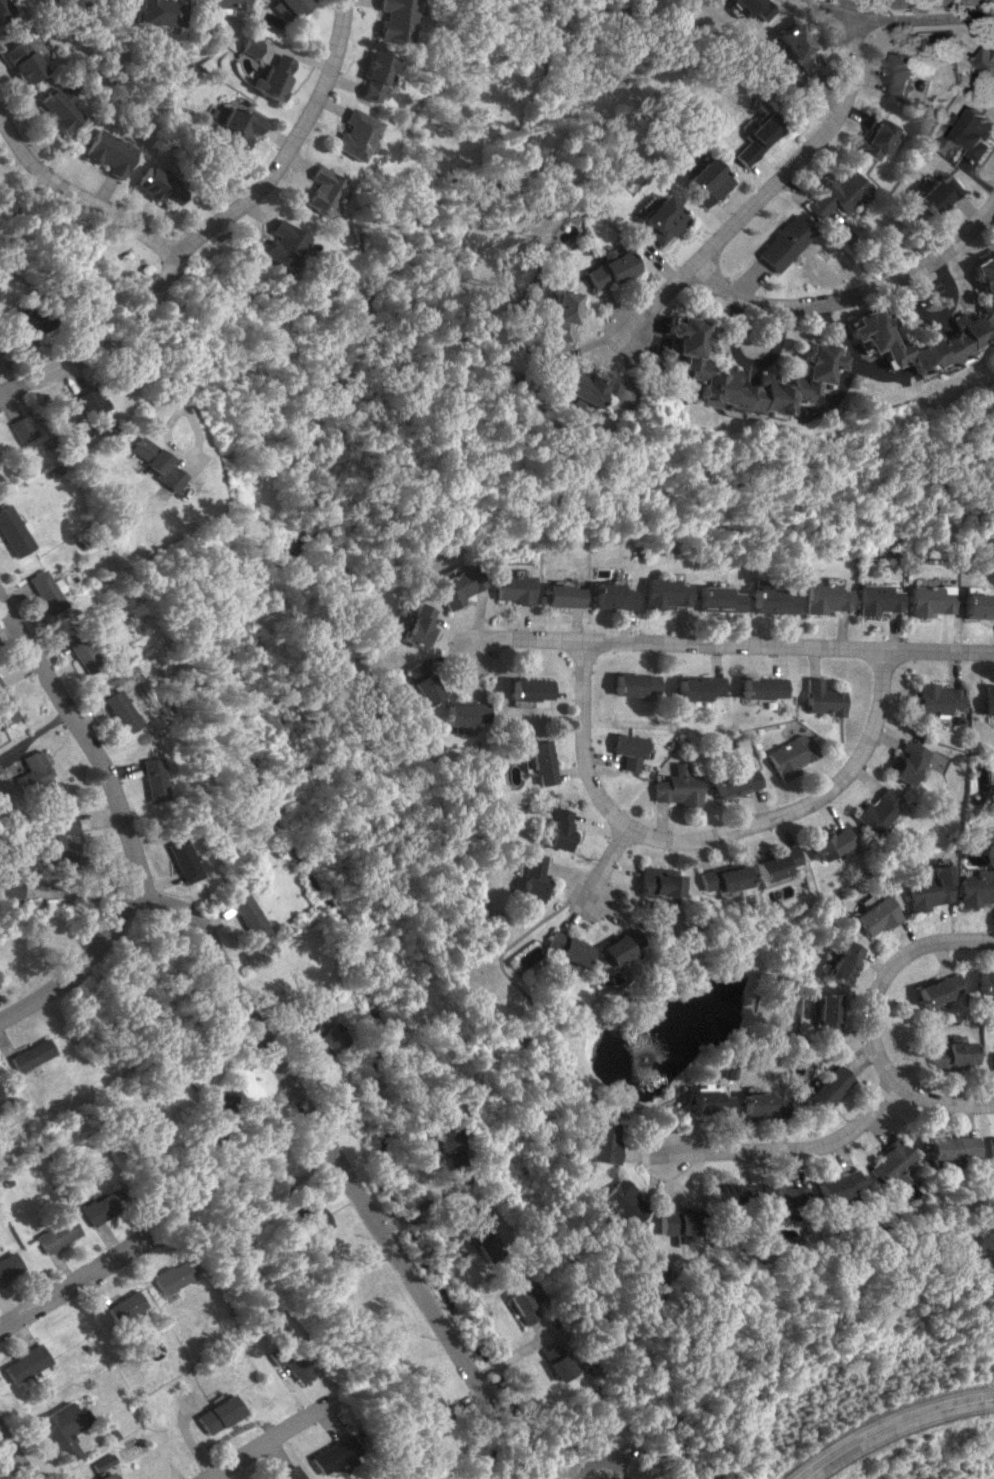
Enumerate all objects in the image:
road: (927, 1)
building: (221, 4)
building: (749, 8)
building: (1, 12)
building: (153, 12)
road: (904, 18)
building: (390, 19)
building: (246, 46)
building: (794, 47)
building: (16, 61)
building: (901, 74)
building: (368, 76)
building: (267, 77)
building: (54, 109)
building: (232, 125)
building: (976, 133)
building: (348, 134)
building: (876, 138)
building: (753, 139)
road: (283, 146)
building: (105, 152)
building: (703, 182)
road: (771, 183)
building: (152, 185)
building: (314, 190)
building: (934, 194)
road: (76, 195)
building: (837, 196)
building: (659, 220)
building: (783, 242)
building: (275, 243)
building: (604, 268)
road: (850, 296)
road: (930, 312)
building: (980, 313)
building: (557, 314)
building: (15, 321)
road: (133, 335)
road: (743, 361)
building: (813, 366)
road: (26, 371)
road: (0, 386)
building: (578, 386)
building: (82, 411)
building: (13, 428)
building: (146, 461)
building: (10, 534)
building: (453, 587)
building: (511, 588)
building: (41, 591)
building: (667, 593)
building: (563, 596)
building: (614, 596)
building: (823, 598)
building: (719, 599)
building: (875, 599)
building: (928, 600)
building: (771, 601)
building: (976, 606)
building: (413, 627)
road: (728, 646)
building: (78, 650)
building: (416, 682)
building: (639, 684)
building: (699, 687)
building: (761, 687)
building: (529, 689)
building: (819, 698)
building: (932, 698)
building: (985, 700)
building: (3, 711)
building: (113, 711)
building: (461, 713)
road: (81, 744)
building: (631, 750)
building: (786, 755)
building: (539, 761)
building: (903, 762)
building: (992, 766)
building: (27, 770)
building: (145, 779)
building: (734, 782)
building: (678, 787)
building: (872, 810)
building: (556, 829)
road: (707, 837)
building: (54, 839)
building: (825, 842)
building: (171, 860)
road: (604, 863)
building: (771, 863)
building: (526, 878)
building: (718, 878)
building: (659, 880)
building: (6, 887)
building: (976, 888)
building: (927, 890)
building: (240, 916)
building: (873, 916)
building: (612, 947)
building: (558, 949)
building: (520, 958)
building: (840, 960)
road: (72, 965)
building: (985, 982)
building: (939, 989)
building: (824, 1015)
road: (532, 1019)
road: (870, 1024)
building: (324, 1037)
building: (28, 1055)
building: (949, 1055)
building: (992, 1061)
building: (826, 1087)
building: (220, 1100)
building: (708, 1102)
building: (761, 1105)
road: (322, 1138)
building: (595, 1141)
building: (440, 1147)
road: (786, 1149)
building: (943, 1149)
building: (986, 1152)
road: (259, 1156)
building: (885, 1164)
building: (833, 1185)
building: (727, 1192)
building: (778, 1198)
building: (616, 1202)
building: (97, 1207)
building: (318, 1214)
building: (669, 1223)
building: (53, 1235)
building: (478, 1242)
building: (8, 1264)
building: (167, 1277)
road: (75, 1281)
building: (521, 1302)
building: (121, 1306)
building: (258, 1325)
building: (287, 1361)
building: (553, 1361)
building: (21, 1364)
building: (436, 1409)
building: (216, 1414)
road: (888, 1423)
building: (57, 1430)
road: (264, 1440)
building: (324, 1455)
road: (11, 1459)
building: (97, 1461)
road: (577, 1472)
building: (283, 1474)
building: (100, 1476)
building: (605, 1478)

